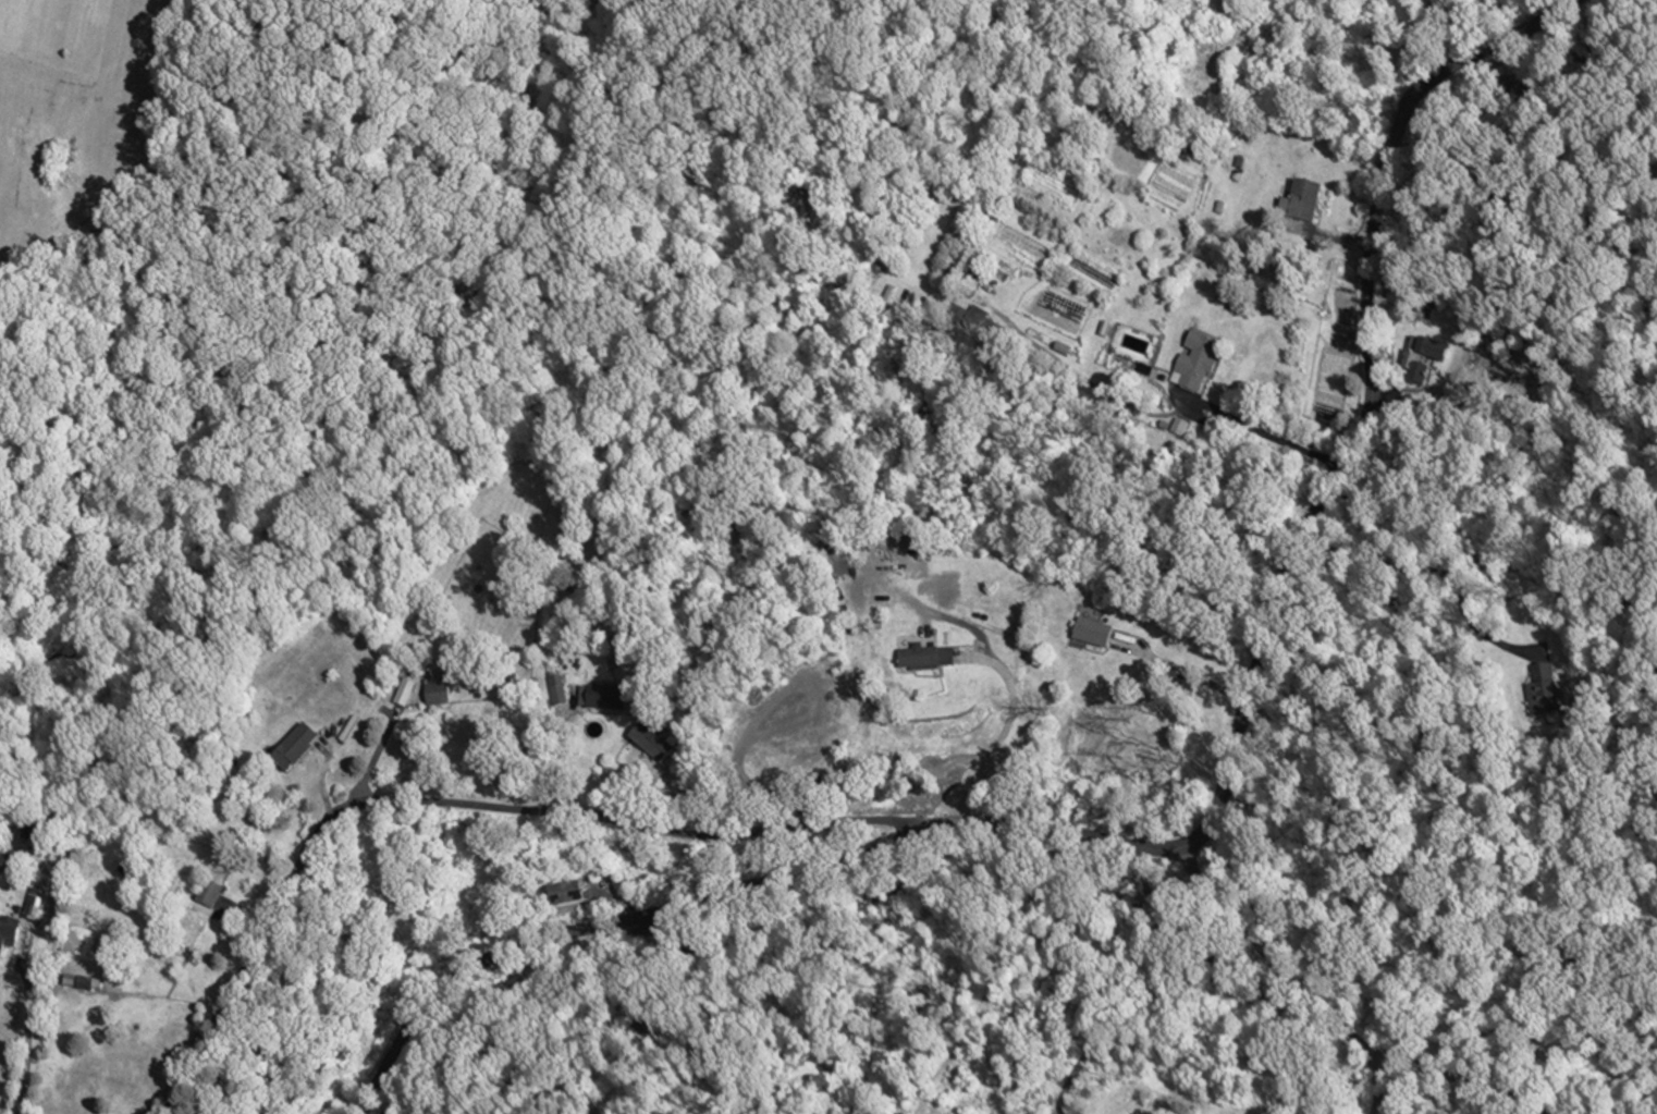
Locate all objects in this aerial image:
building: (1302, 197)
building: (975, 273)
building: (966, 286)
building: (974, 321)
building: (1061, 347)
building: (1194, 362)
building: (1412, 362)
building: (1143, 367)
road: (1259, 434)
building: (830, 534)
road: (1433, 570)
building: (1092, 631)
building: (924, 657)
road: (1180, 670)
building: (435, 687)
building: (555, 689)
building: (1539, 689)
building: (402, 691)
building: (600, 696)
road: (1004, 731)
building: (650, 742)
building: (287, 746)
road: (555, 746)
road: (373, 758)
road: (757, 789)
road: (469, 804)
road: (1206, 828)
building: (23, 835)
building: (563, 894)
building: (205, 897)
road: (621, 899)
building: (30, 903)
road: (244, 914)
building: (7, 932)
road: (1289, 974)
building: (81, 981)
road: (1157, 993)
road: (28, 1035)
road: (1453, 1074)

